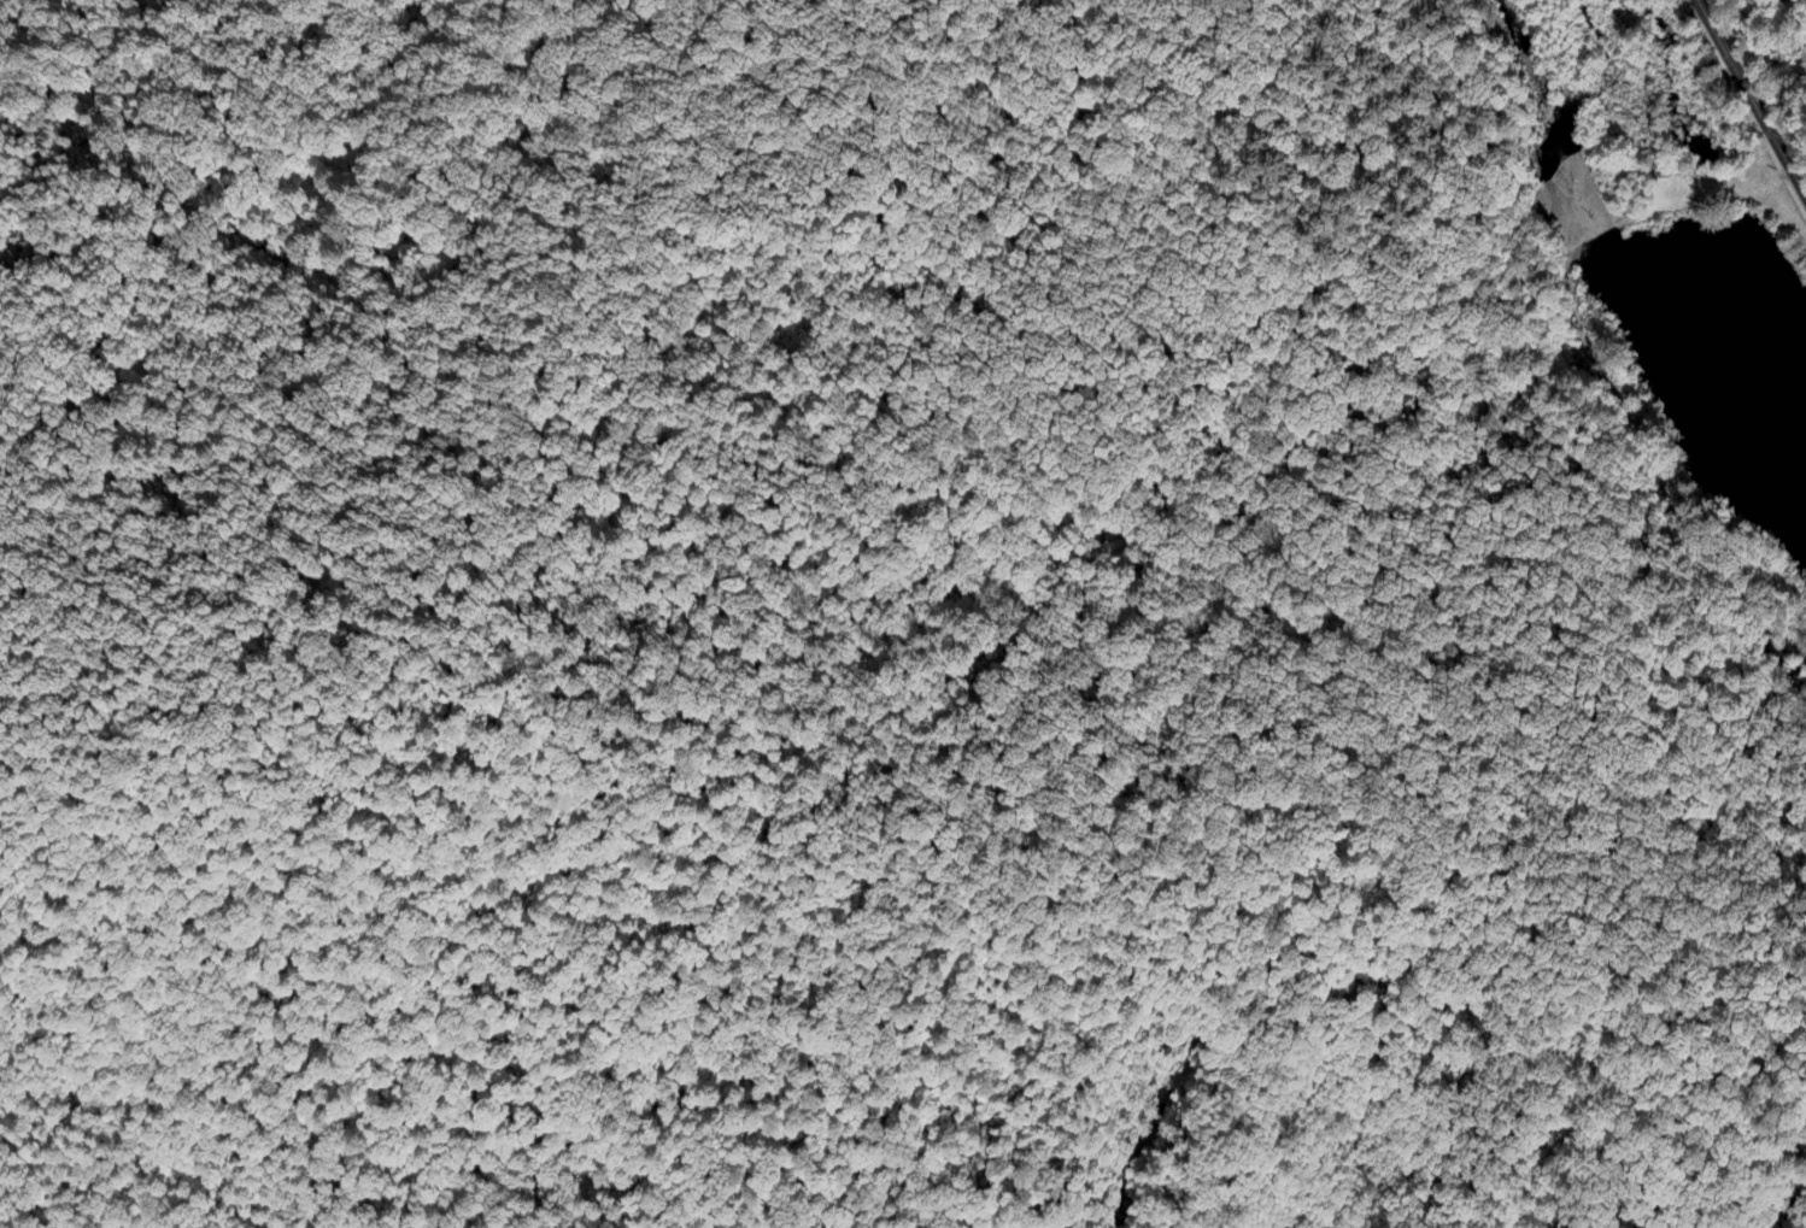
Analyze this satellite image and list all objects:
road: (1751, 98)

